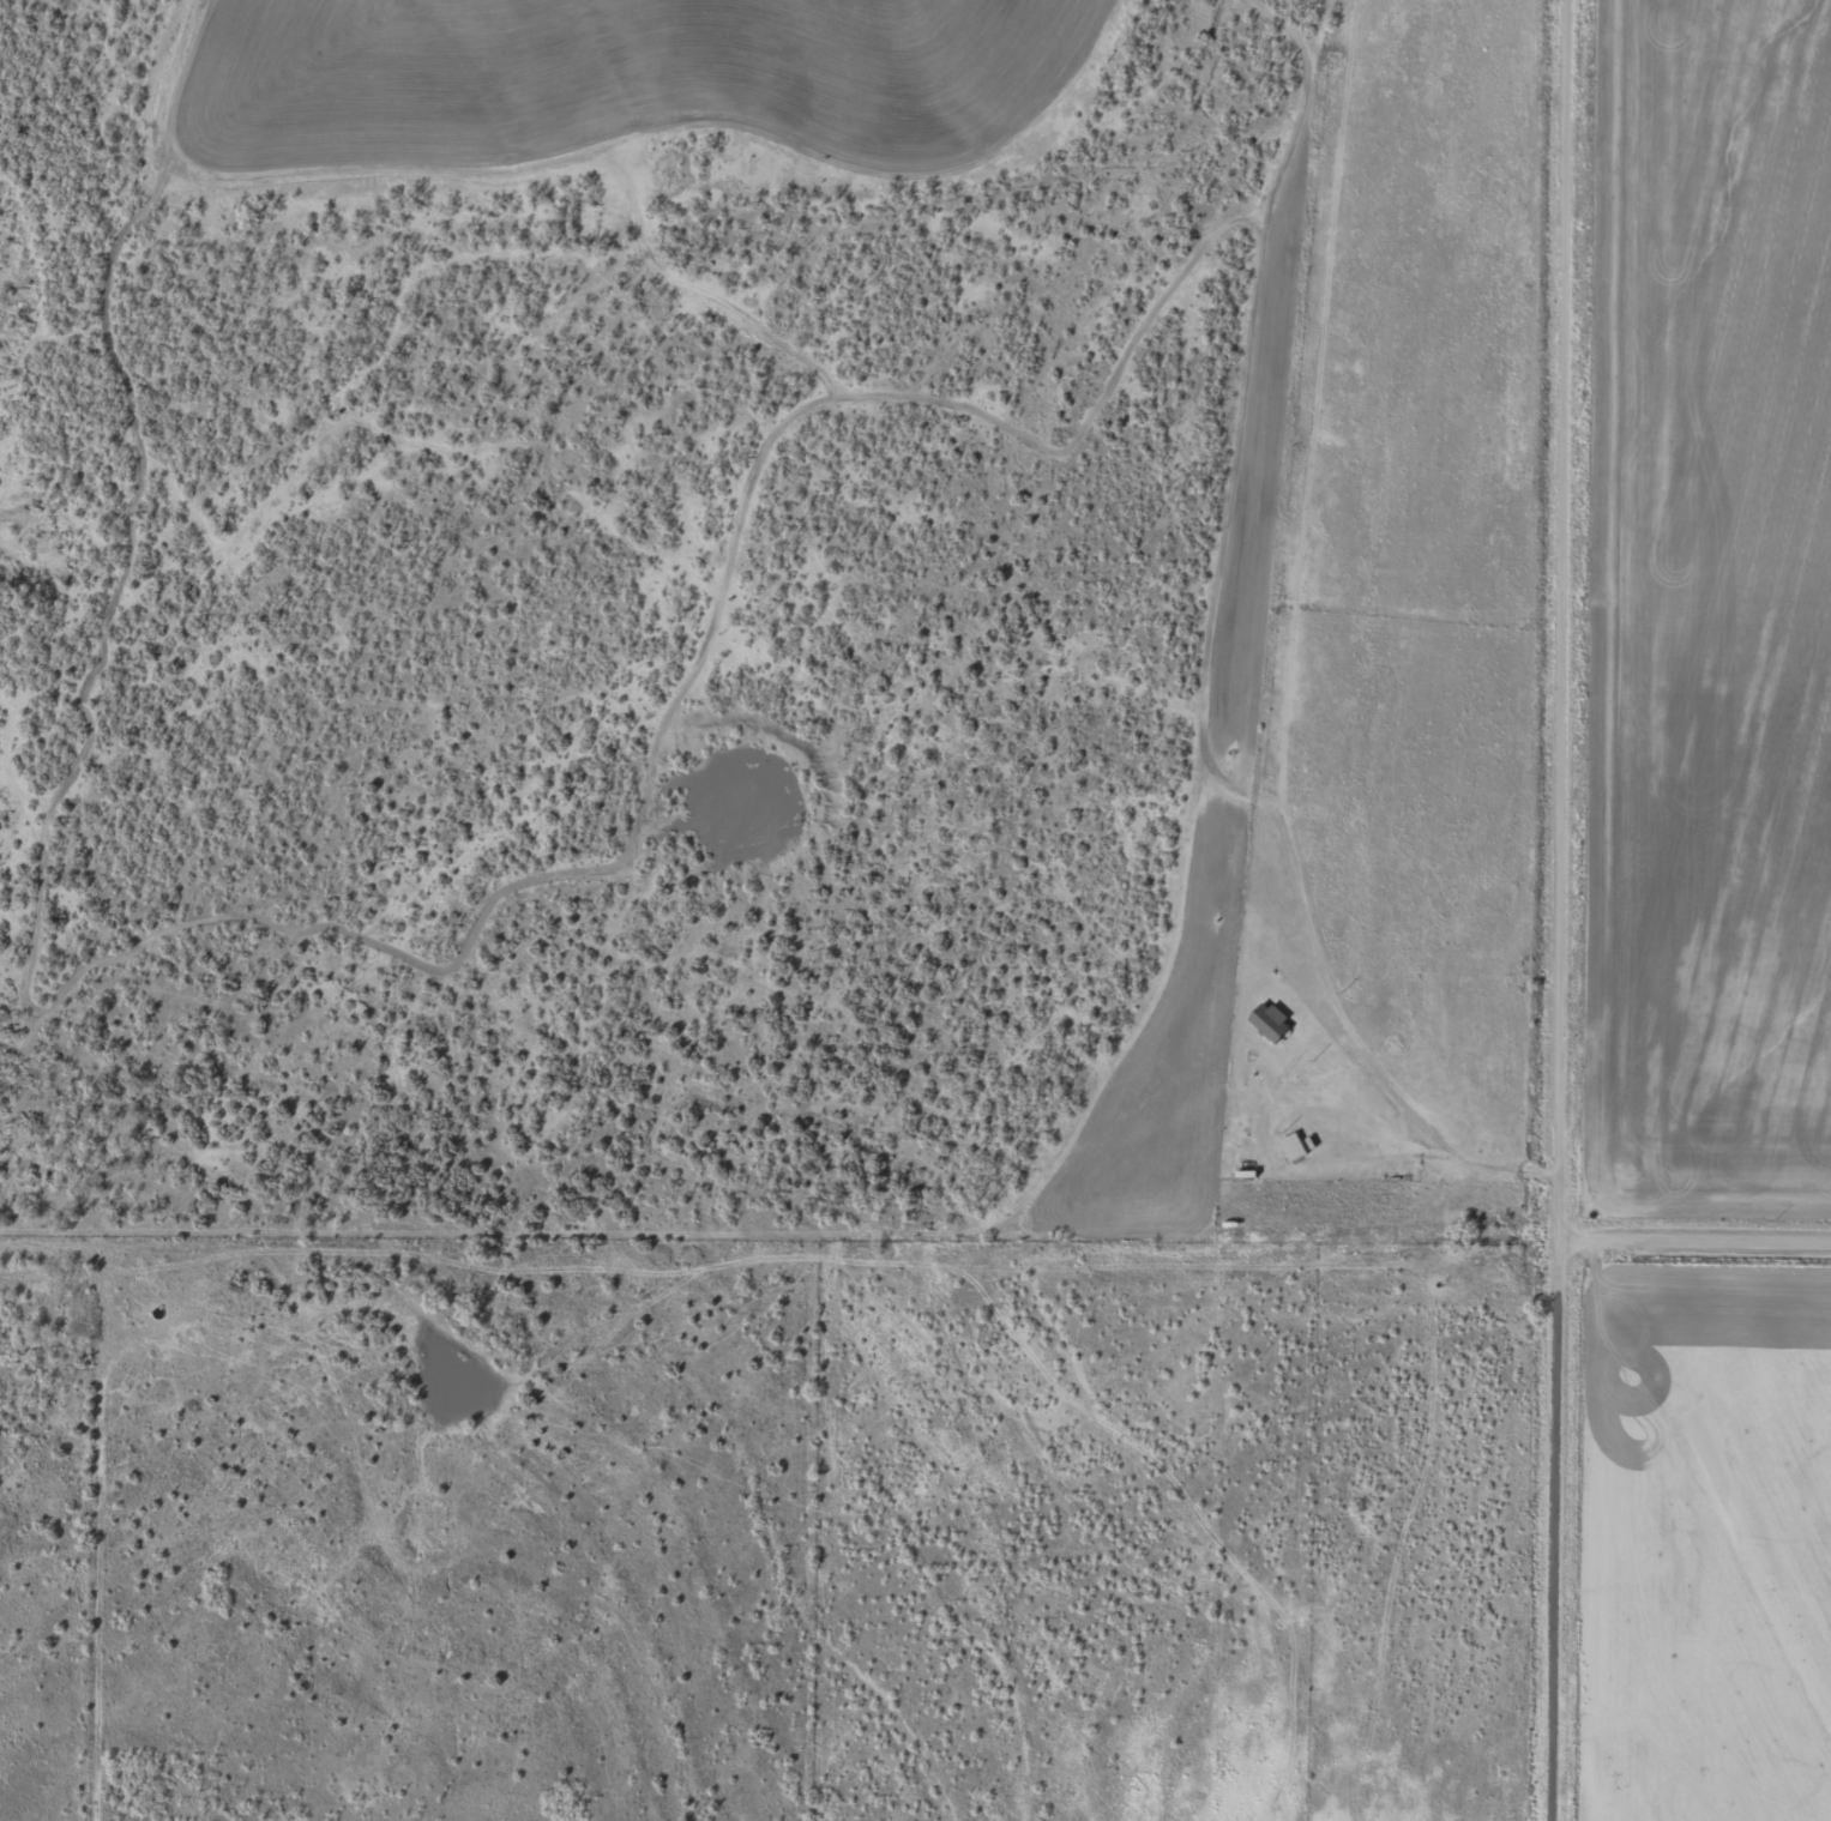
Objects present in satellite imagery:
road: (1565, 617)
building: (1275, 1025)
building: (1297, 1148)
road: (1696, 1236)
road: (1558, 1528)

